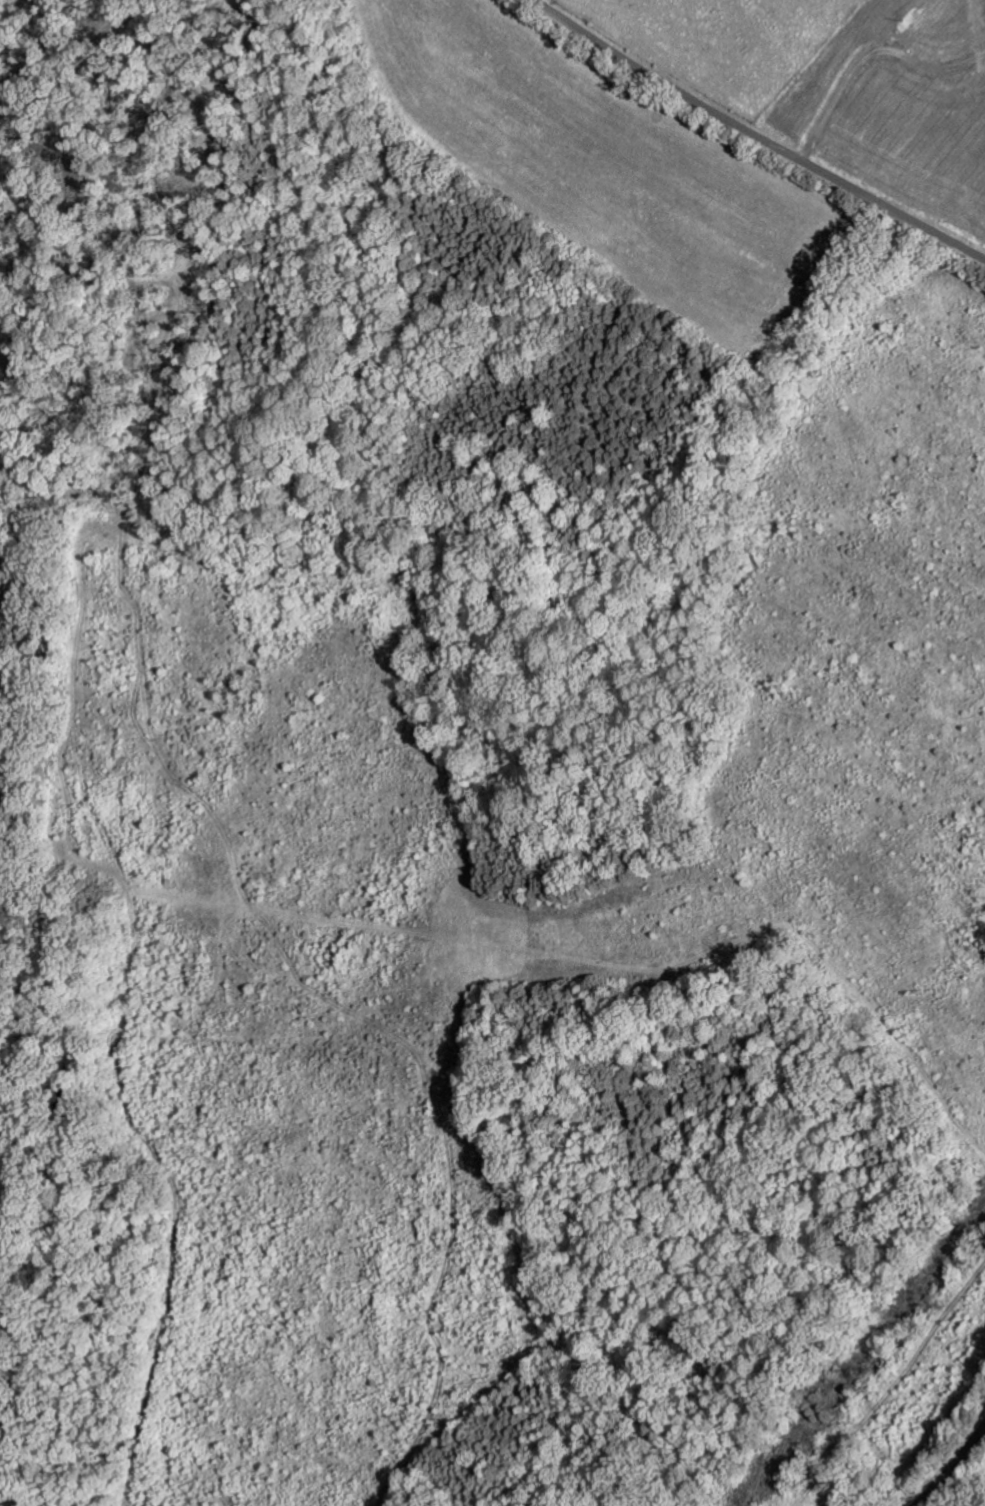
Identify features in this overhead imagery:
road: (757, 135)
road: (952, 1468)

